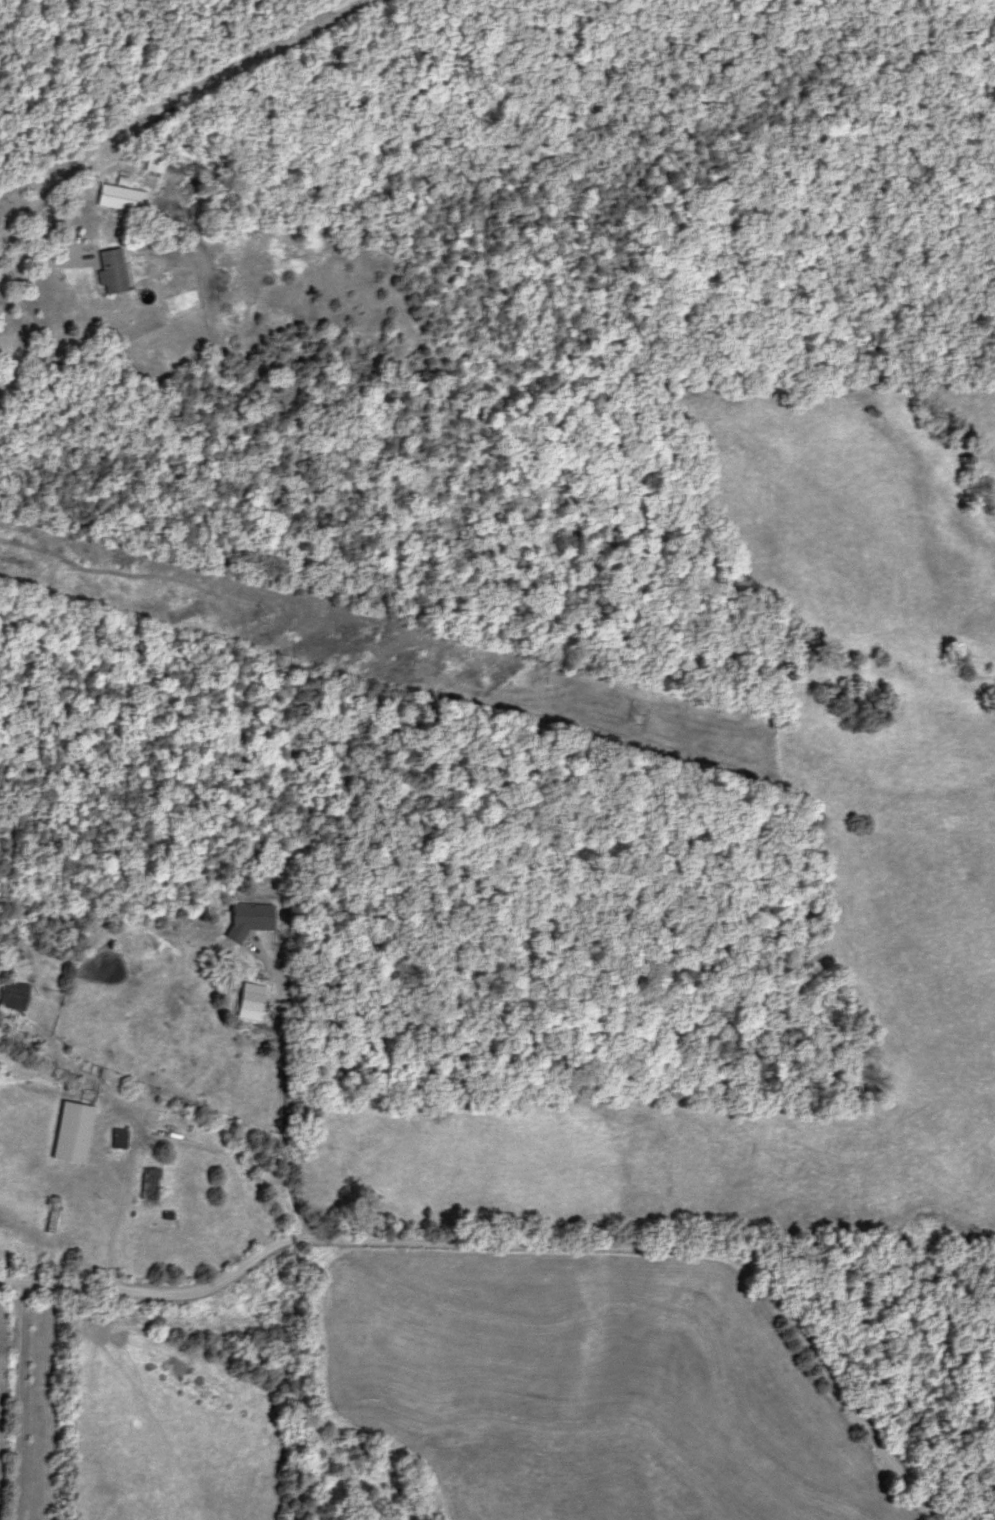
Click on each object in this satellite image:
road: (171, 97)
building: (121, 199)
building: (114, 273)
building: (250, 919)
building: (14, 995)
building: (71, 1133)
building: (118, 1138)
building: (148, 1181)
road: (522, 1247)

